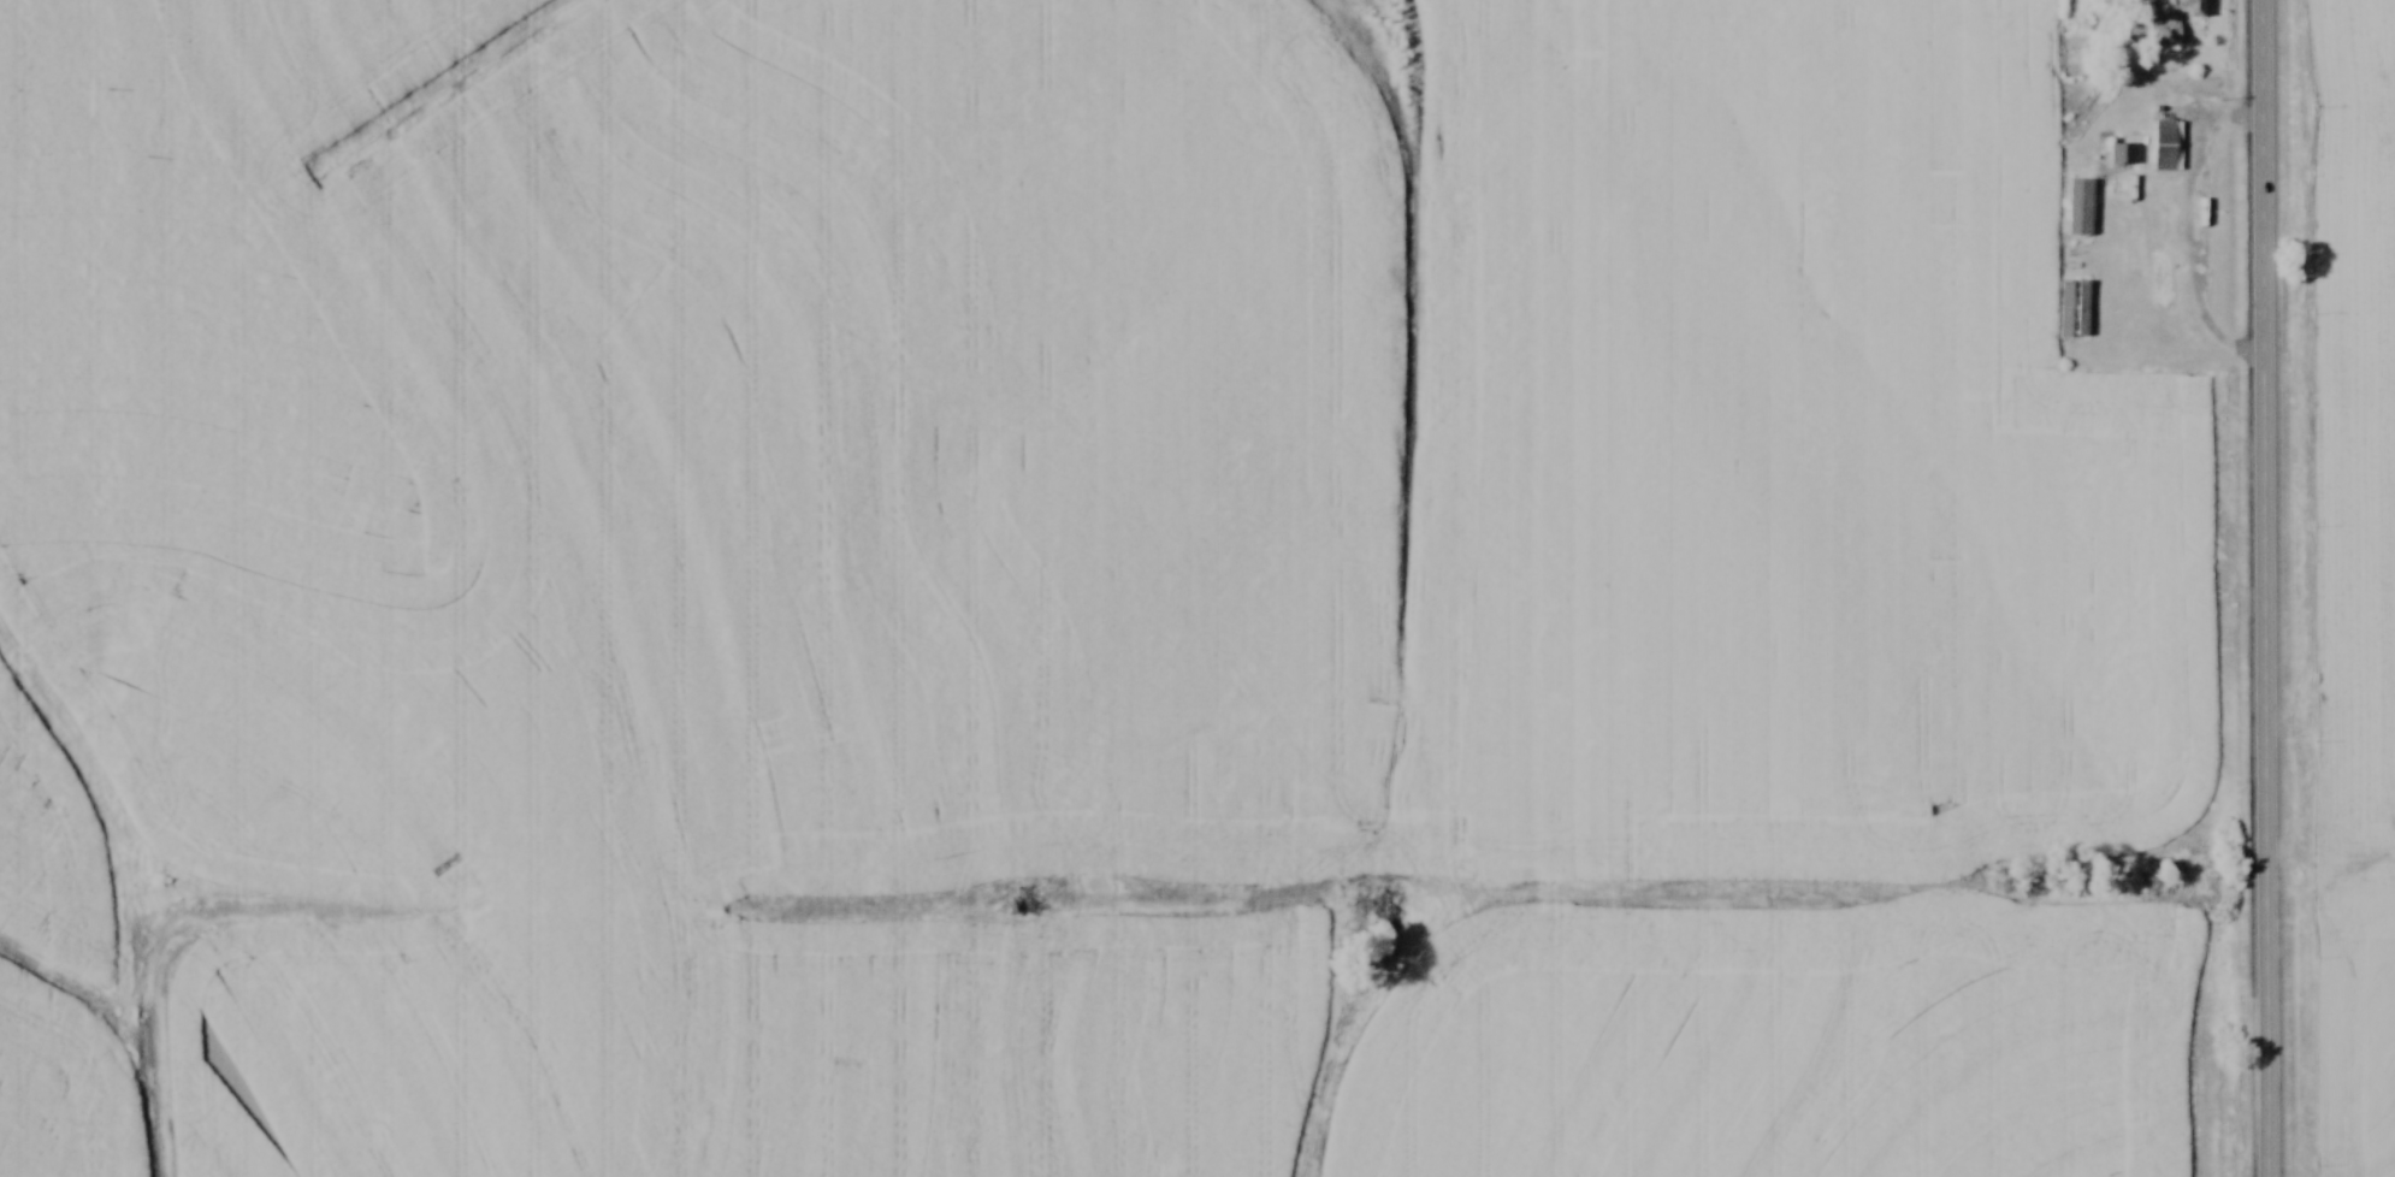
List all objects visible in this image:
building: (2174, 22)
building: (2166, 146)
building: (2122, 155)
building: (2162, 215)
road: (2188, 227)
building: (2165, 285)
building: (2186, 345)
road: (2260, 588)

